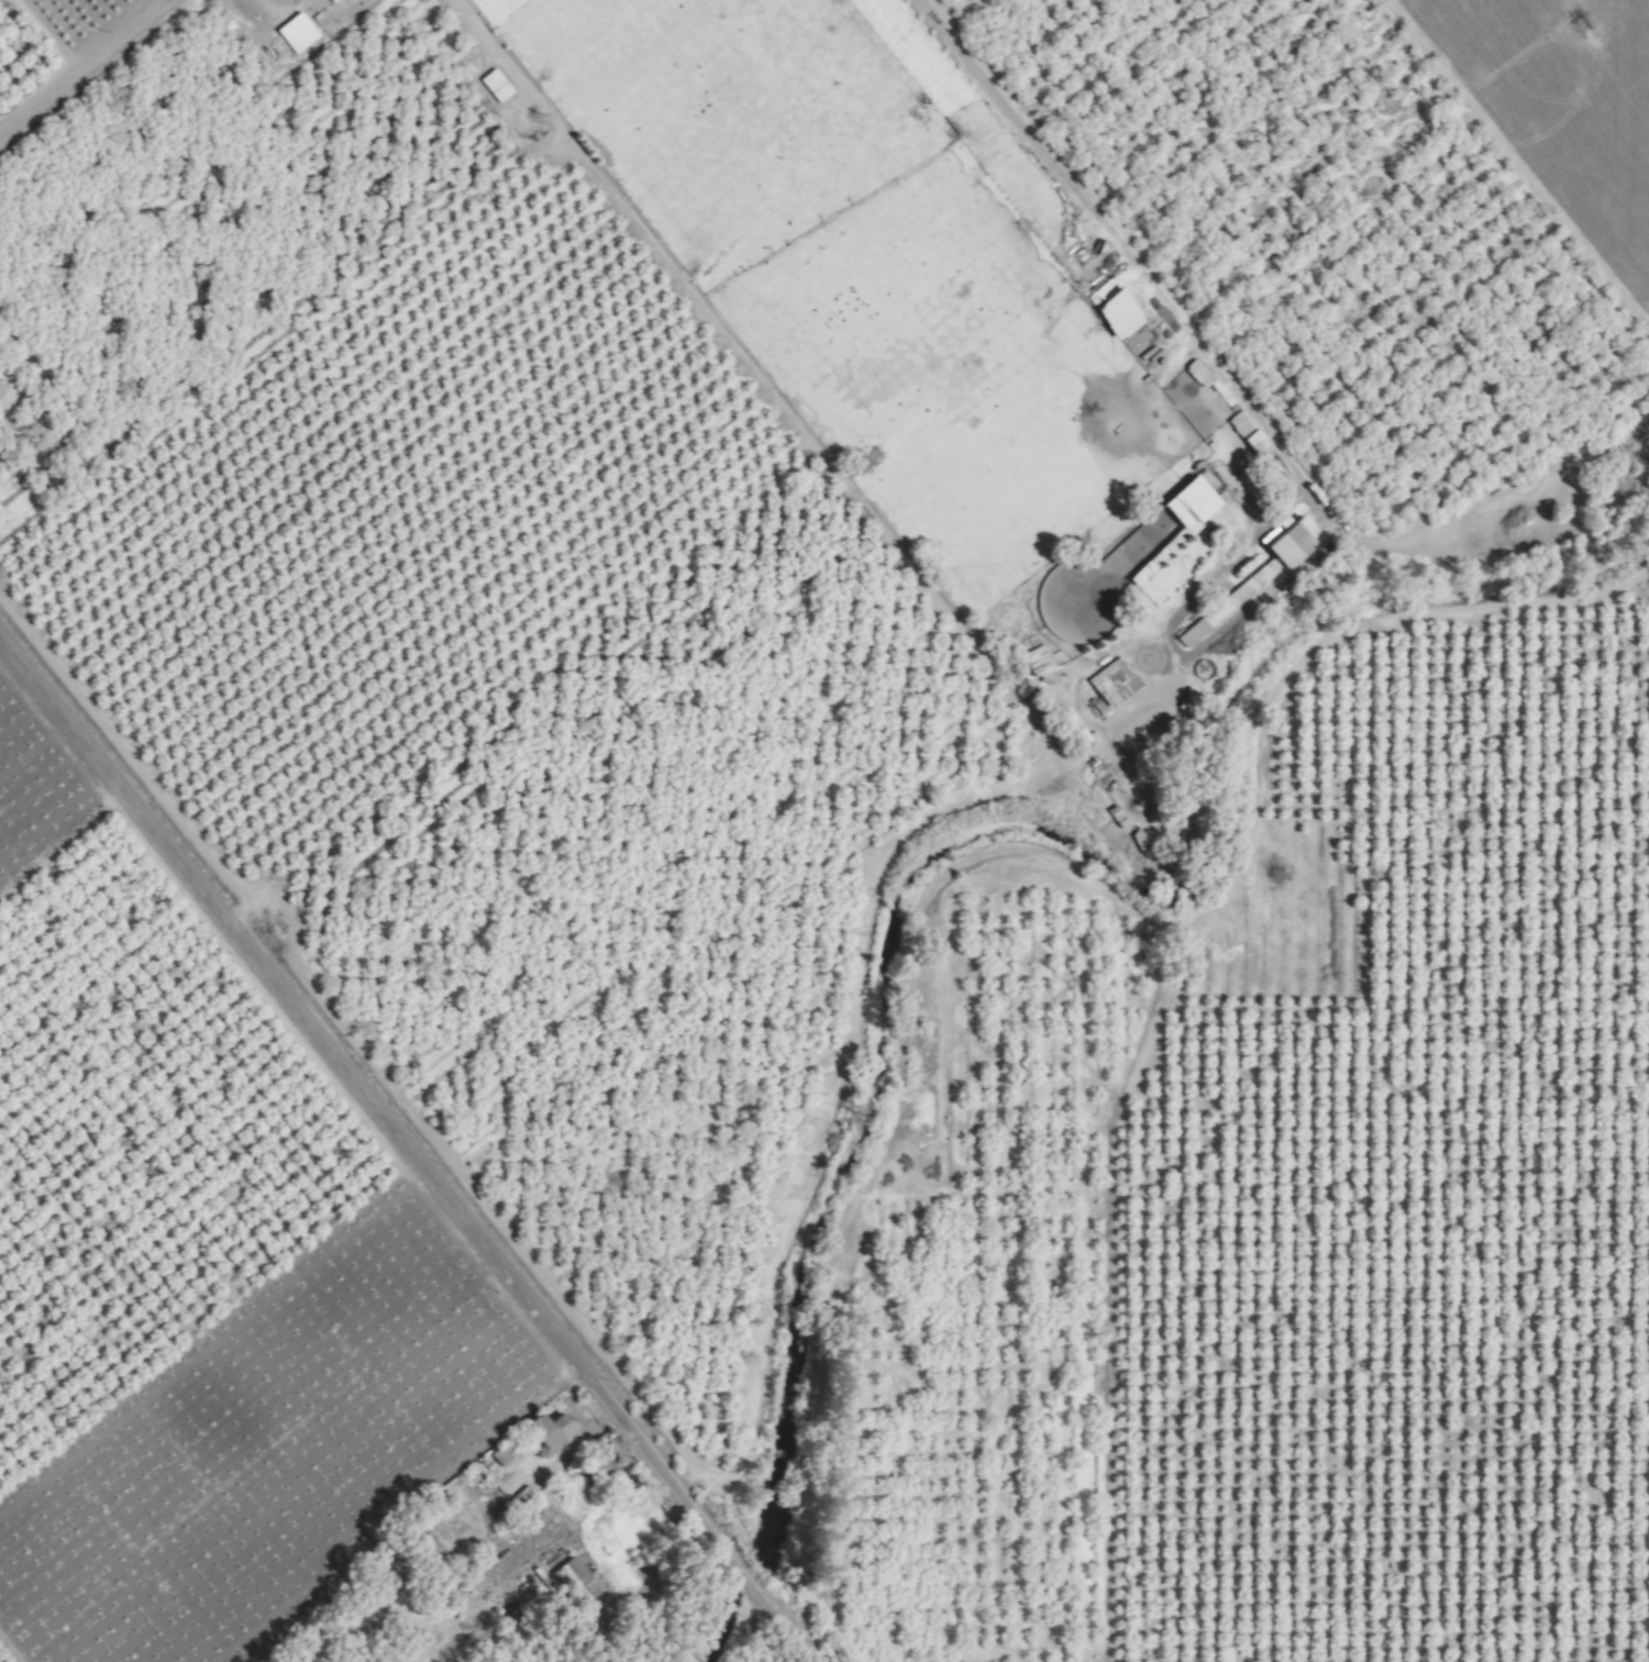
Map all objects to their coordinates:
building: (328, 1)
building: (294, 33)
road: (73, 56)
building: (1195, 374)
building: (1246, 434)
building: (1186, 503)
building: (1139, 570)
building: (1189, 632)
building: (1109, 685)
building: (1067, 727)
road: (405, 1129)
building: (544, 1431)
building: (574, 1580)

